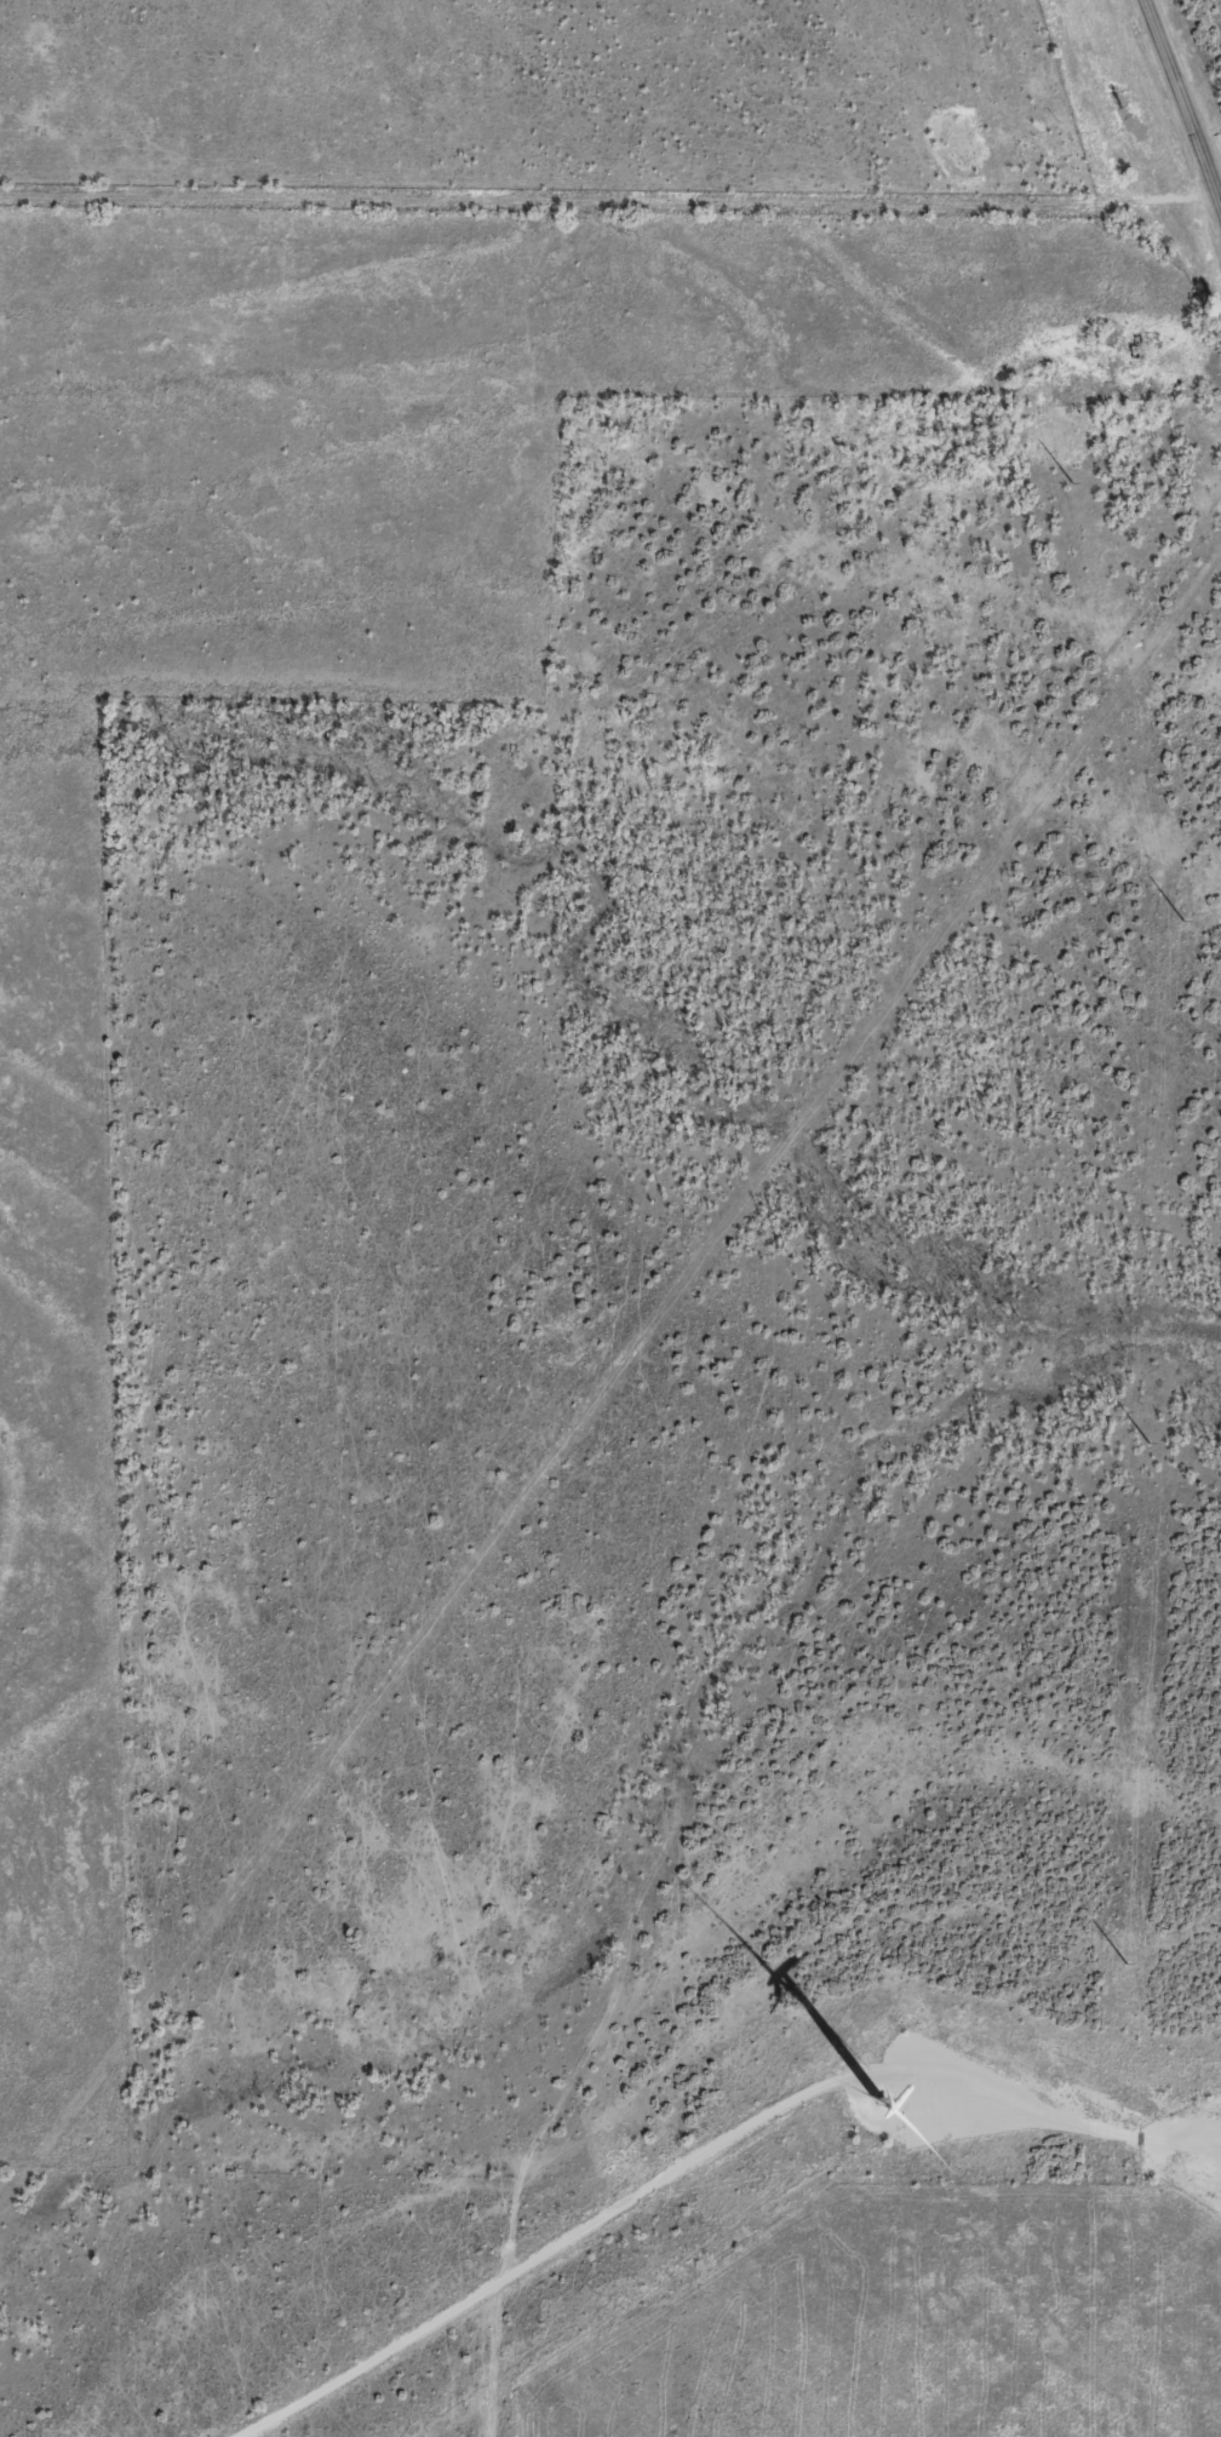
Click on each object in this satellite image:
road: (1180, 109)
road: (606, 197)
power tower: (1068, 483)
power tower: (1177, 922)
power tower: (1143, 1446)
power tower: (1123, 1966)
wind turbine: (916, 2081)

